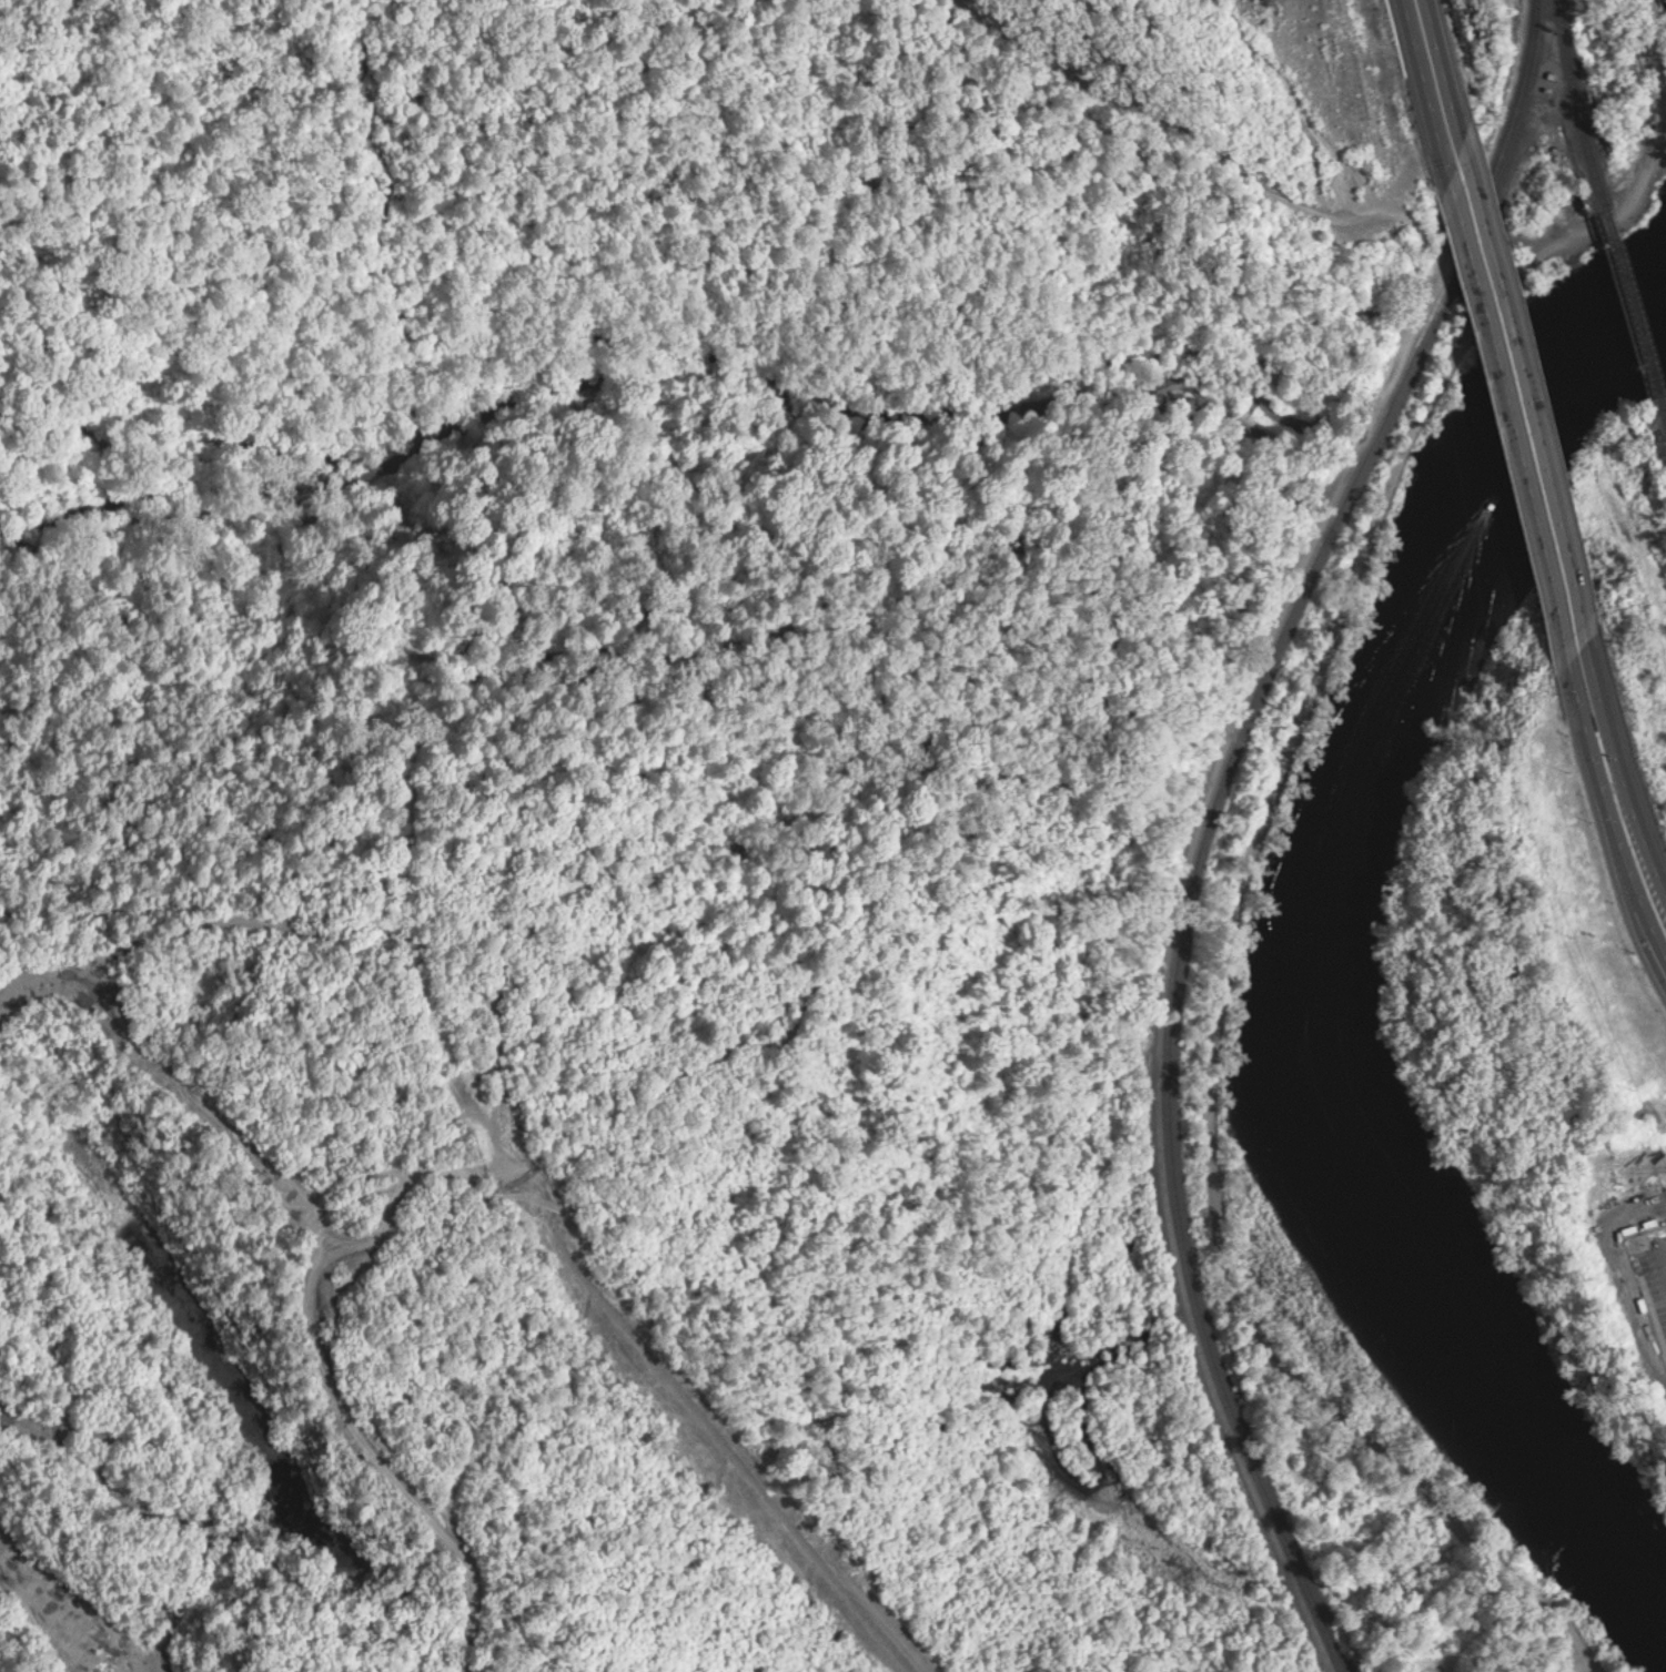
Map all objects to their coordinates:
road: (1450, 68)
road: (1425, 85)
railway: (1571, 105)
road: (1623, 142)
building: (1559, 153)
railway: (1629, 302)
road: (715, 372)
road: (1533, 384)
railway: (1663, 407)
road: (1511, 414)
road: (1604, 677)
road: (1581, 695)
road: (1601, 726)
road: (1636, 801)
railway: (1206, 819)
road: (1623, 840)
river: (1313, 960)
road: (1219, 979)
road: (83, 1611)

